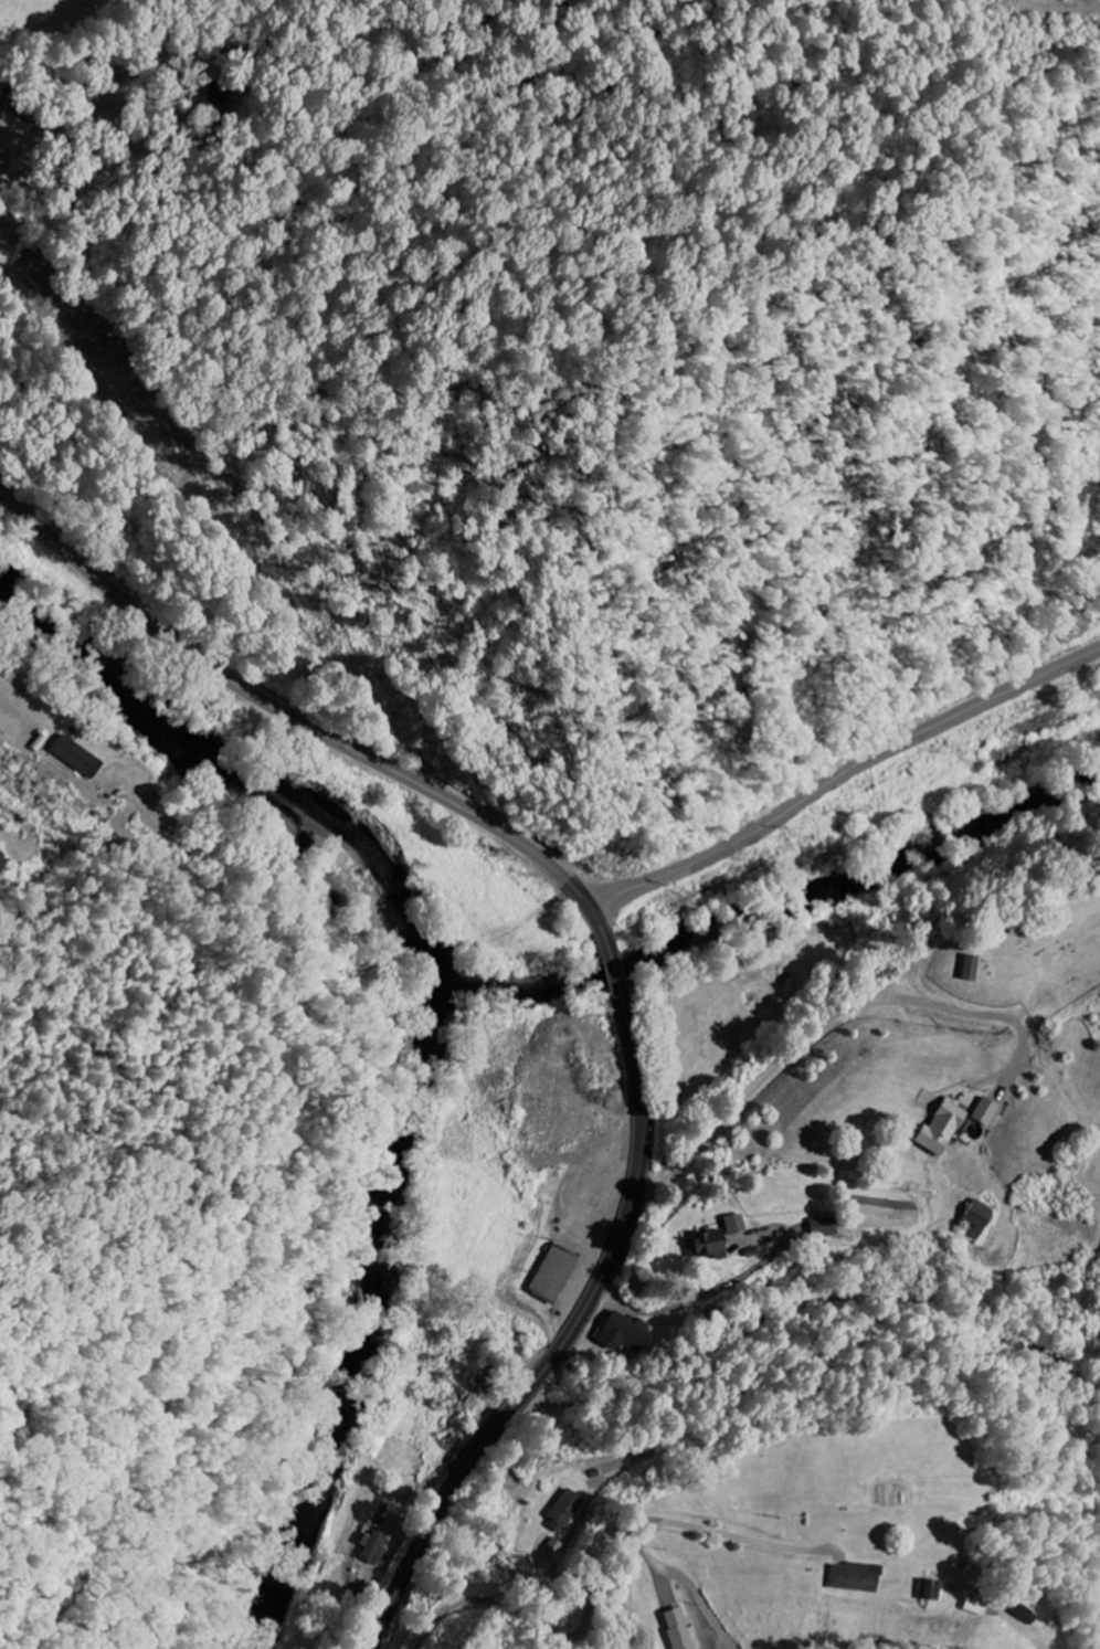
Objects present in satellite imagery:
road: (29, 88)
building: (82, 757)
road: (843, 778)
building: (4, 862)
road: (609, 951)
building: (973, 968)
road: (812, 1039)
building: (988, 1111)
building: (946, 1129)
building: (981, 1219)
building: (826, 1227)
building: (560, 1272)
road: (813, 1304)
building: (626, 1333)
building: (568, 1511)
river: (310, 1525)
building: (379, 1548)
building: (420, 1548)
road: (593, 1569)
building: (859, 1577)
building: (934, 1590)
building: (684, 1630)

